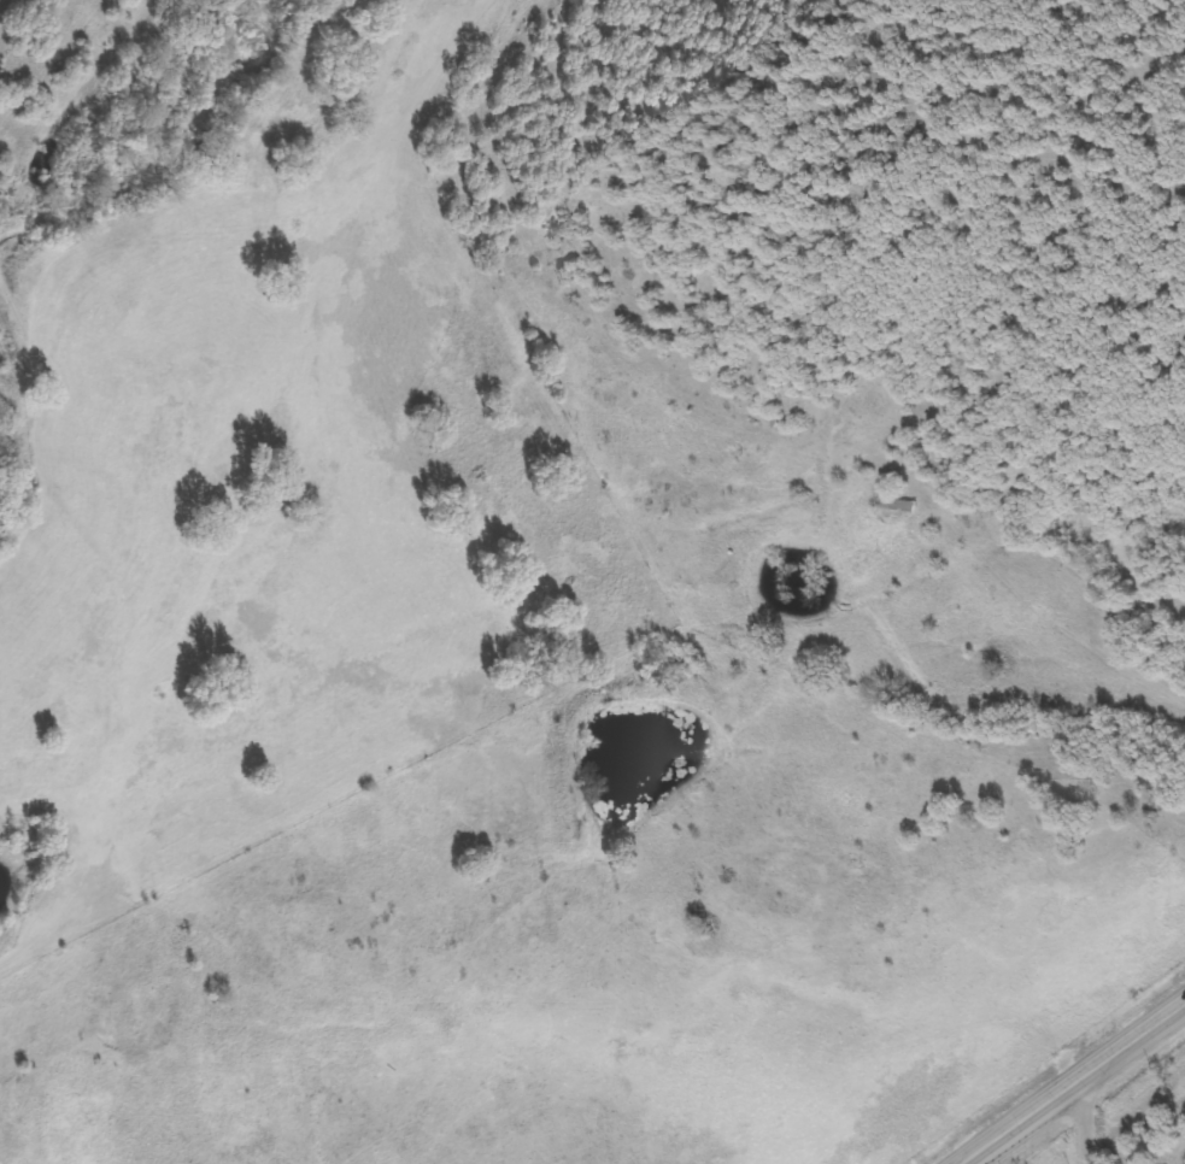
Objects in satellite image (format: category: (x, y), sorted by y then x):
road: (843, 462)
building: (894, 502)
road: (251, 783)
road: (1075, 1083)
road: (1084, 1121)

